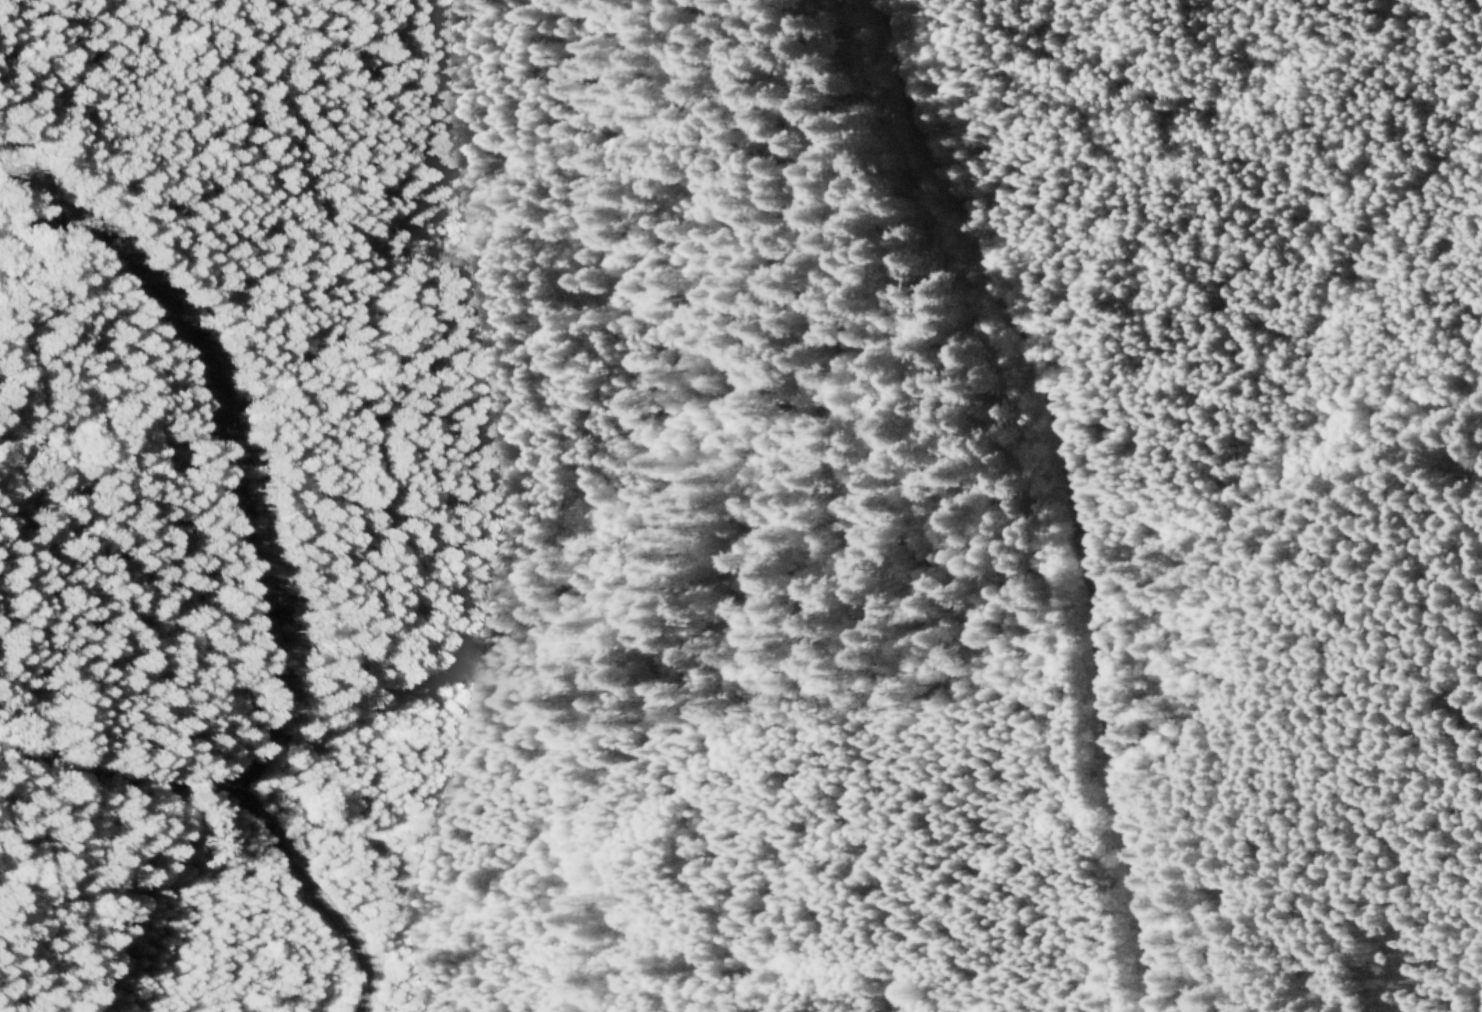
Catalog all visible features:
road: (1061, 487)
road: (210, 809)

